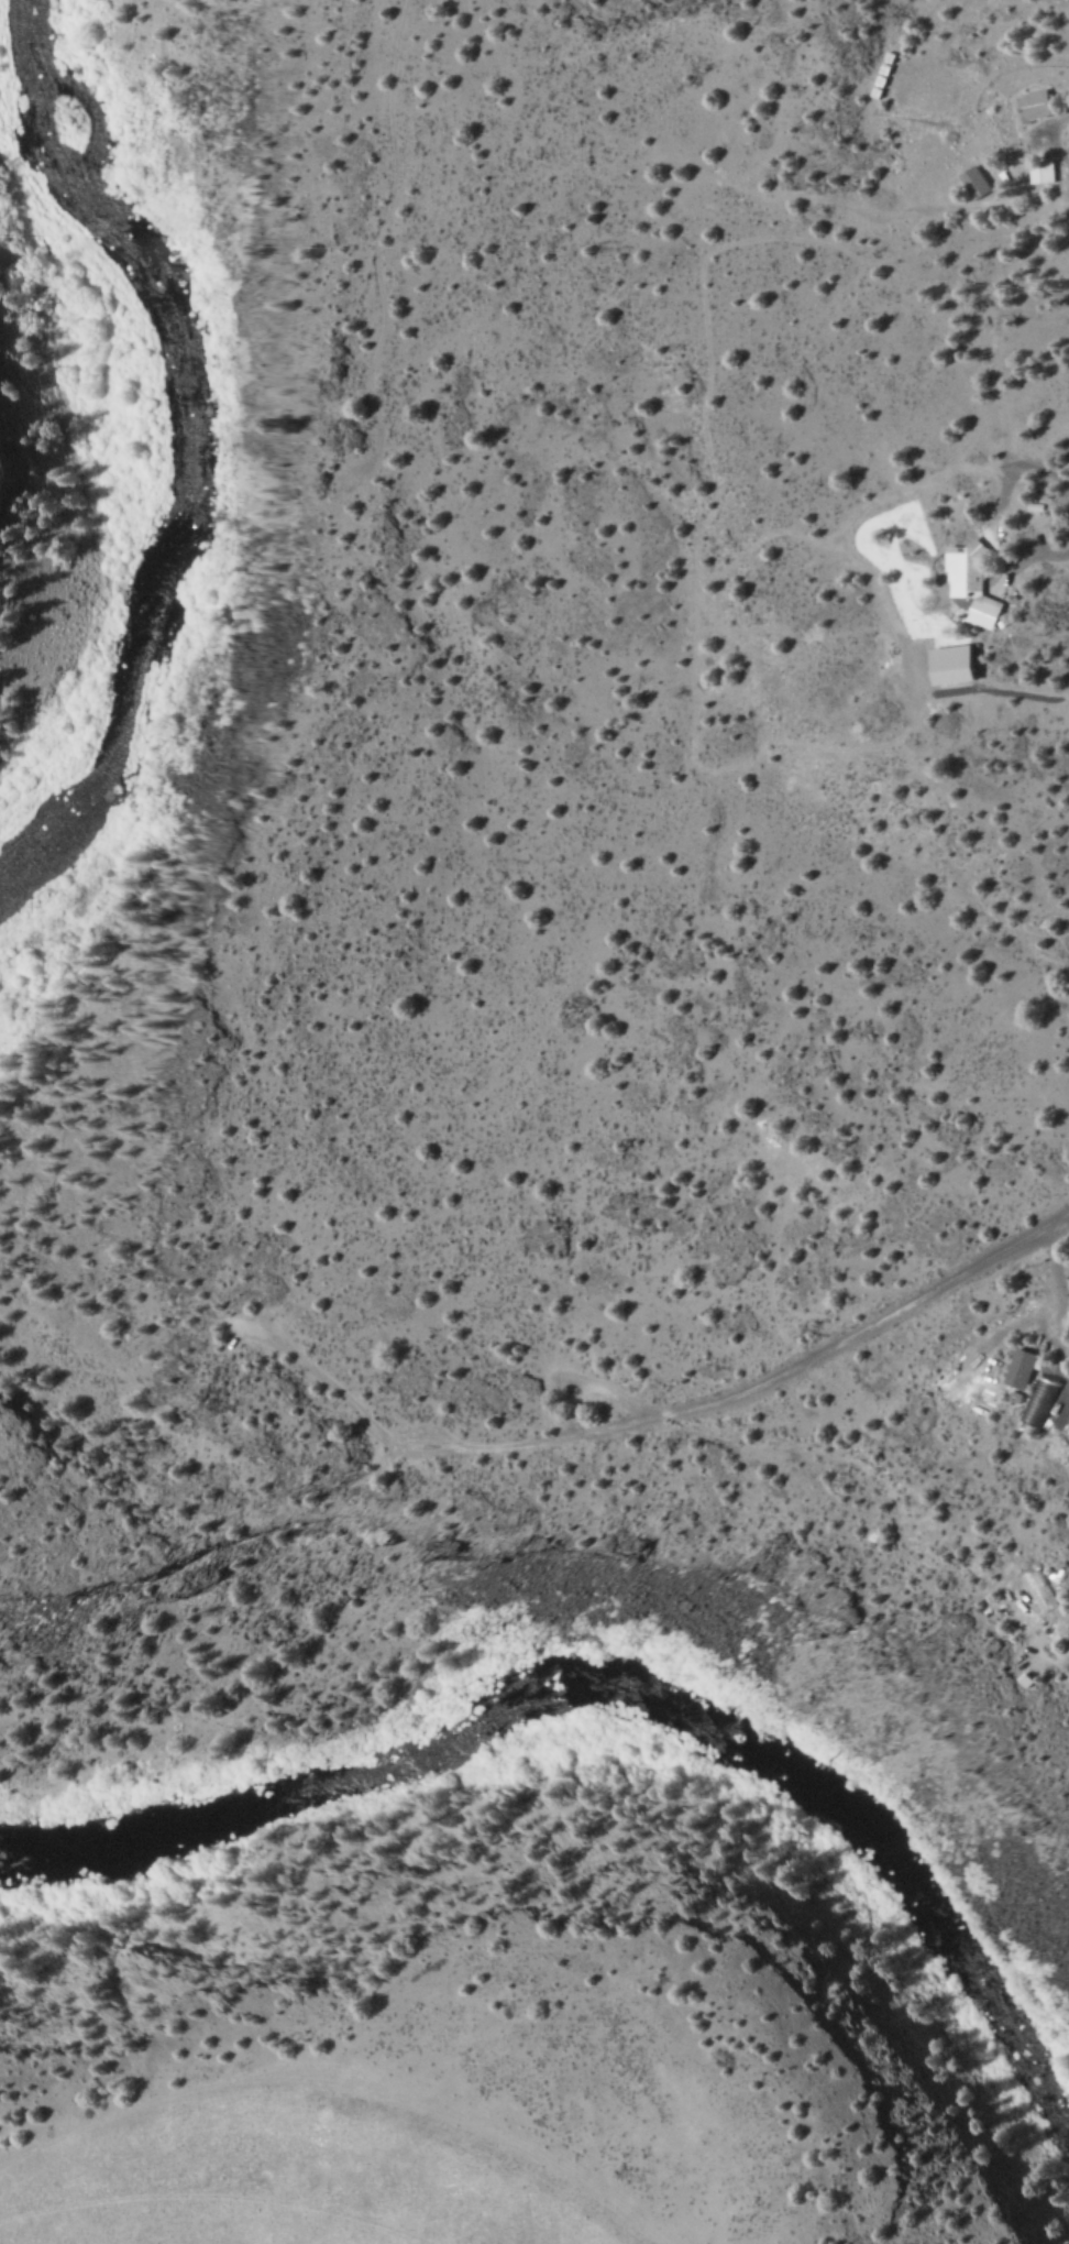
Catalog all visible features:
building: (1033, 105)
building: (1042, 172)
building: (976, 182)
river: (184, 449)
building: (957, 578)
building: (952, 664)
building: (1021, 1369)
road: (789, 1375)
building: (1039, 1401)
river: (637, 1698)
crop: (441, 2148)

